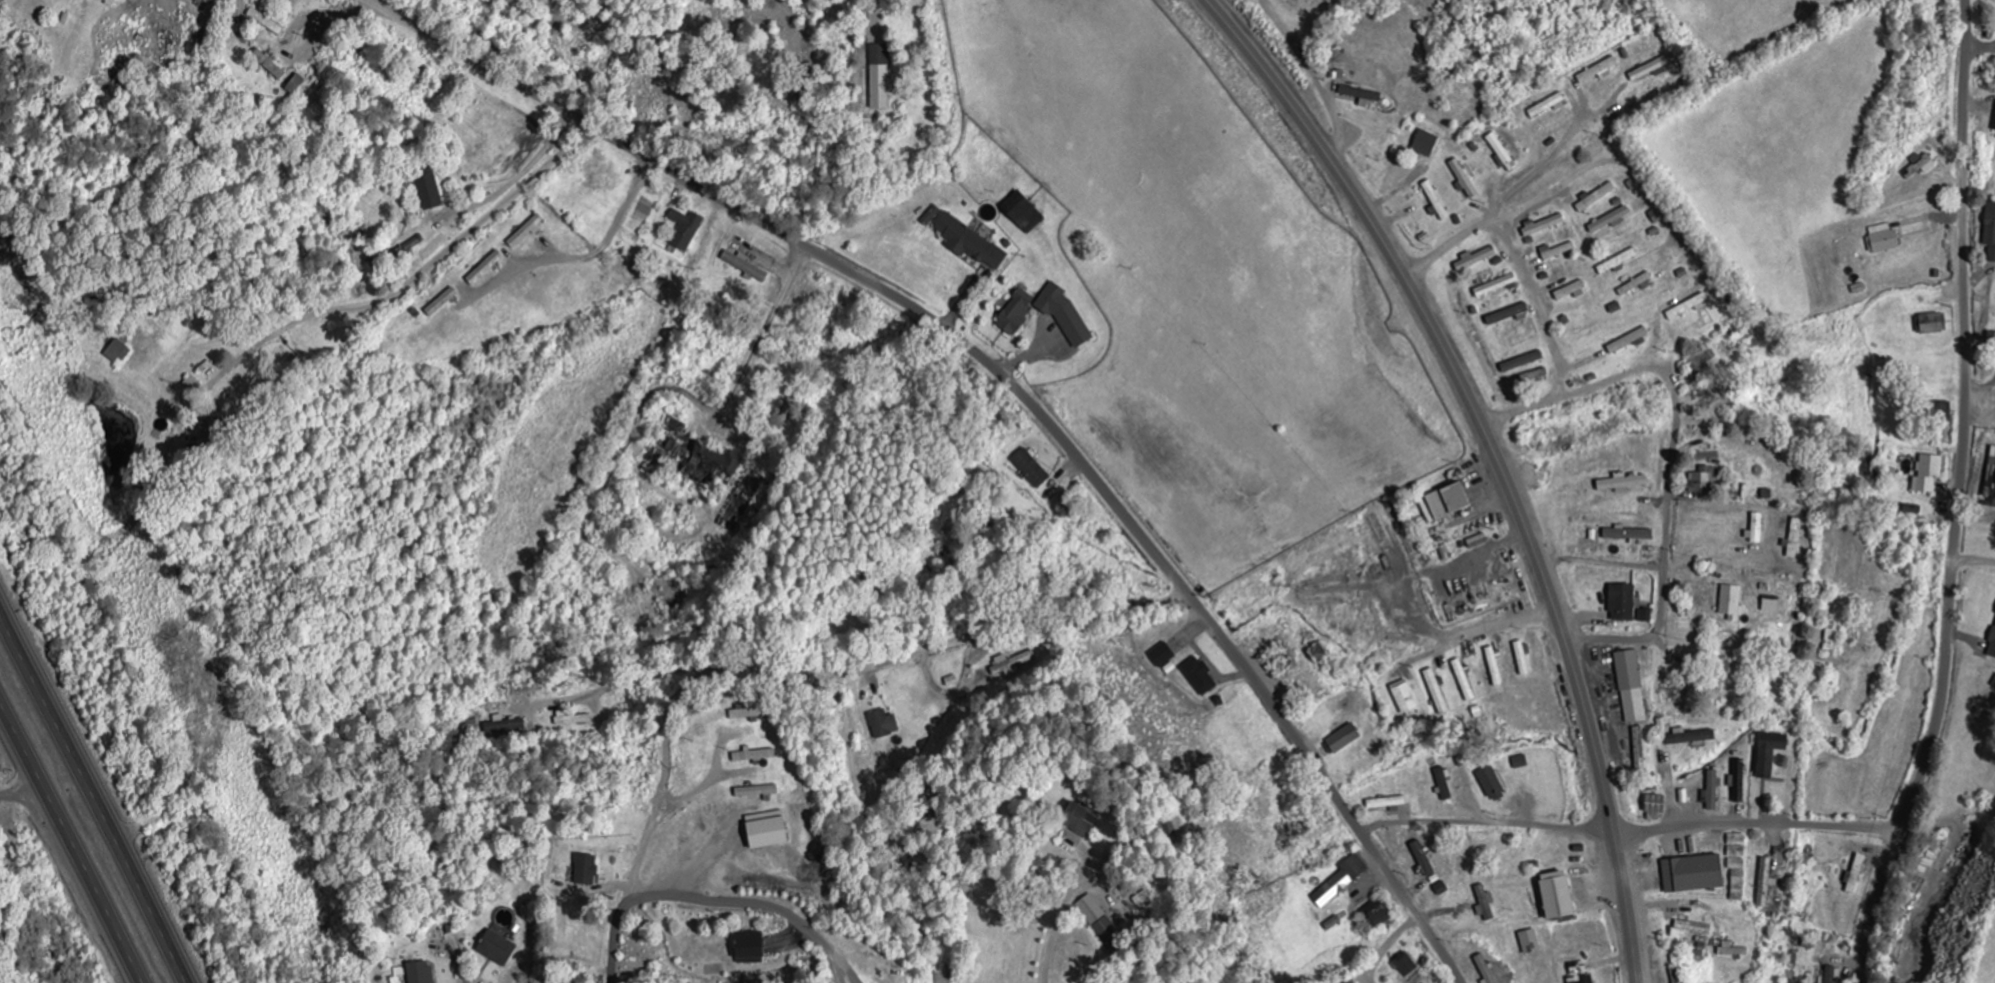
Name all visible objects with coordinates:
building: (212, 0)
building: (110, 1)
park: (1318, 16)
road: (1981, 49)
building: (269, 65)
building: (1650, 69)
building: (1599, 71)
building: (881, 76)
building: (295, 84)
building: (1362, 96)
road: (603, 132)
building: (1425, 144)
building: (1501, 152)
building: (1463, 178)
building: (429, 190)
building: (1596, 198)
building: (1022, 213)
building: (1609, 221)
building: (1542, 226)
building: (684, 230)
building: (1990, 231)
building: (526, 232)
building: (1885, 241)
building: (969, 243)
building: (1556, 252)
building: (1475, 260)
building: (1618, 262)
building: (485, 269)
road: (417, 272)
building: (1497, 286)
building: (1636, 286)
building: (1571, 291)
building: (441, 303)
building: (1688, 307)
building: (1016, 312)
building: (1063, 315)
building: (1932, 324)
building: (1991, 341)
building: (116, 352)
building: (1522, 362)
building: (1939, 411)
building: (784, 415)
building: (671, 443)
road: (1498, 458)
building: (714, 461)
building: (1031, 468)
building: (1928, 474)
building: (1703, 481)
building: (1990, 495)
road: (1960, 497)
building: (1447, 501)
building: (1757, 528)
building: (1628, 534)
building: (1794, 538)
road: (1185, 589)
building: (1731, 602)
building: (1622, 603)
building: (1645, 615)
building: (1992, 647)
building: (1162, 655)
building: (1522, 658)
building: (1014, 665)
building: (1494, 666)
building: (1719, 675)
building: (1199, 676)
building: (1464, 680)
building: (1631, 686)
building: (1437, 692)
building: (1404, 697)
building: (748, 715)
building: (883, 724)
building: (506, 729)
building: (1690, 737)
building: (1343, 739)
building: (1639, 748)
building: (1769, 753)
building: (754, 756)
building: (1738, 781)
building: (1443, 784)
building: (1492, 784)
road: (97, 791)
building: (1711, 792)
building: (1387, 803)
building: (1655, 808)
building: (1077, 819)
road: (1487, 823)
road: (1757, 823)
building: (1170, 828)
building: (766, 830)
road: (69, 843)
building: (1423, 859)
building: (1737, 865)
building: (586, 870)
building: (1692, 874)
building: (1855, 875)
building: (1340, 881)
building: (1766, 882)
building: (1556, 895)
road: (717, 901)
building: (1484, 904)
building: (1378, 914)
building: (1099, 920)
building: (1693, 928)
building: (1530, 941)
building: (496, 948)
building: (748, 948)
building: (1701, 950)
building: (1406, 965)
building: (1485, 969)
building: (420, 972)
building: (1830, 976)

